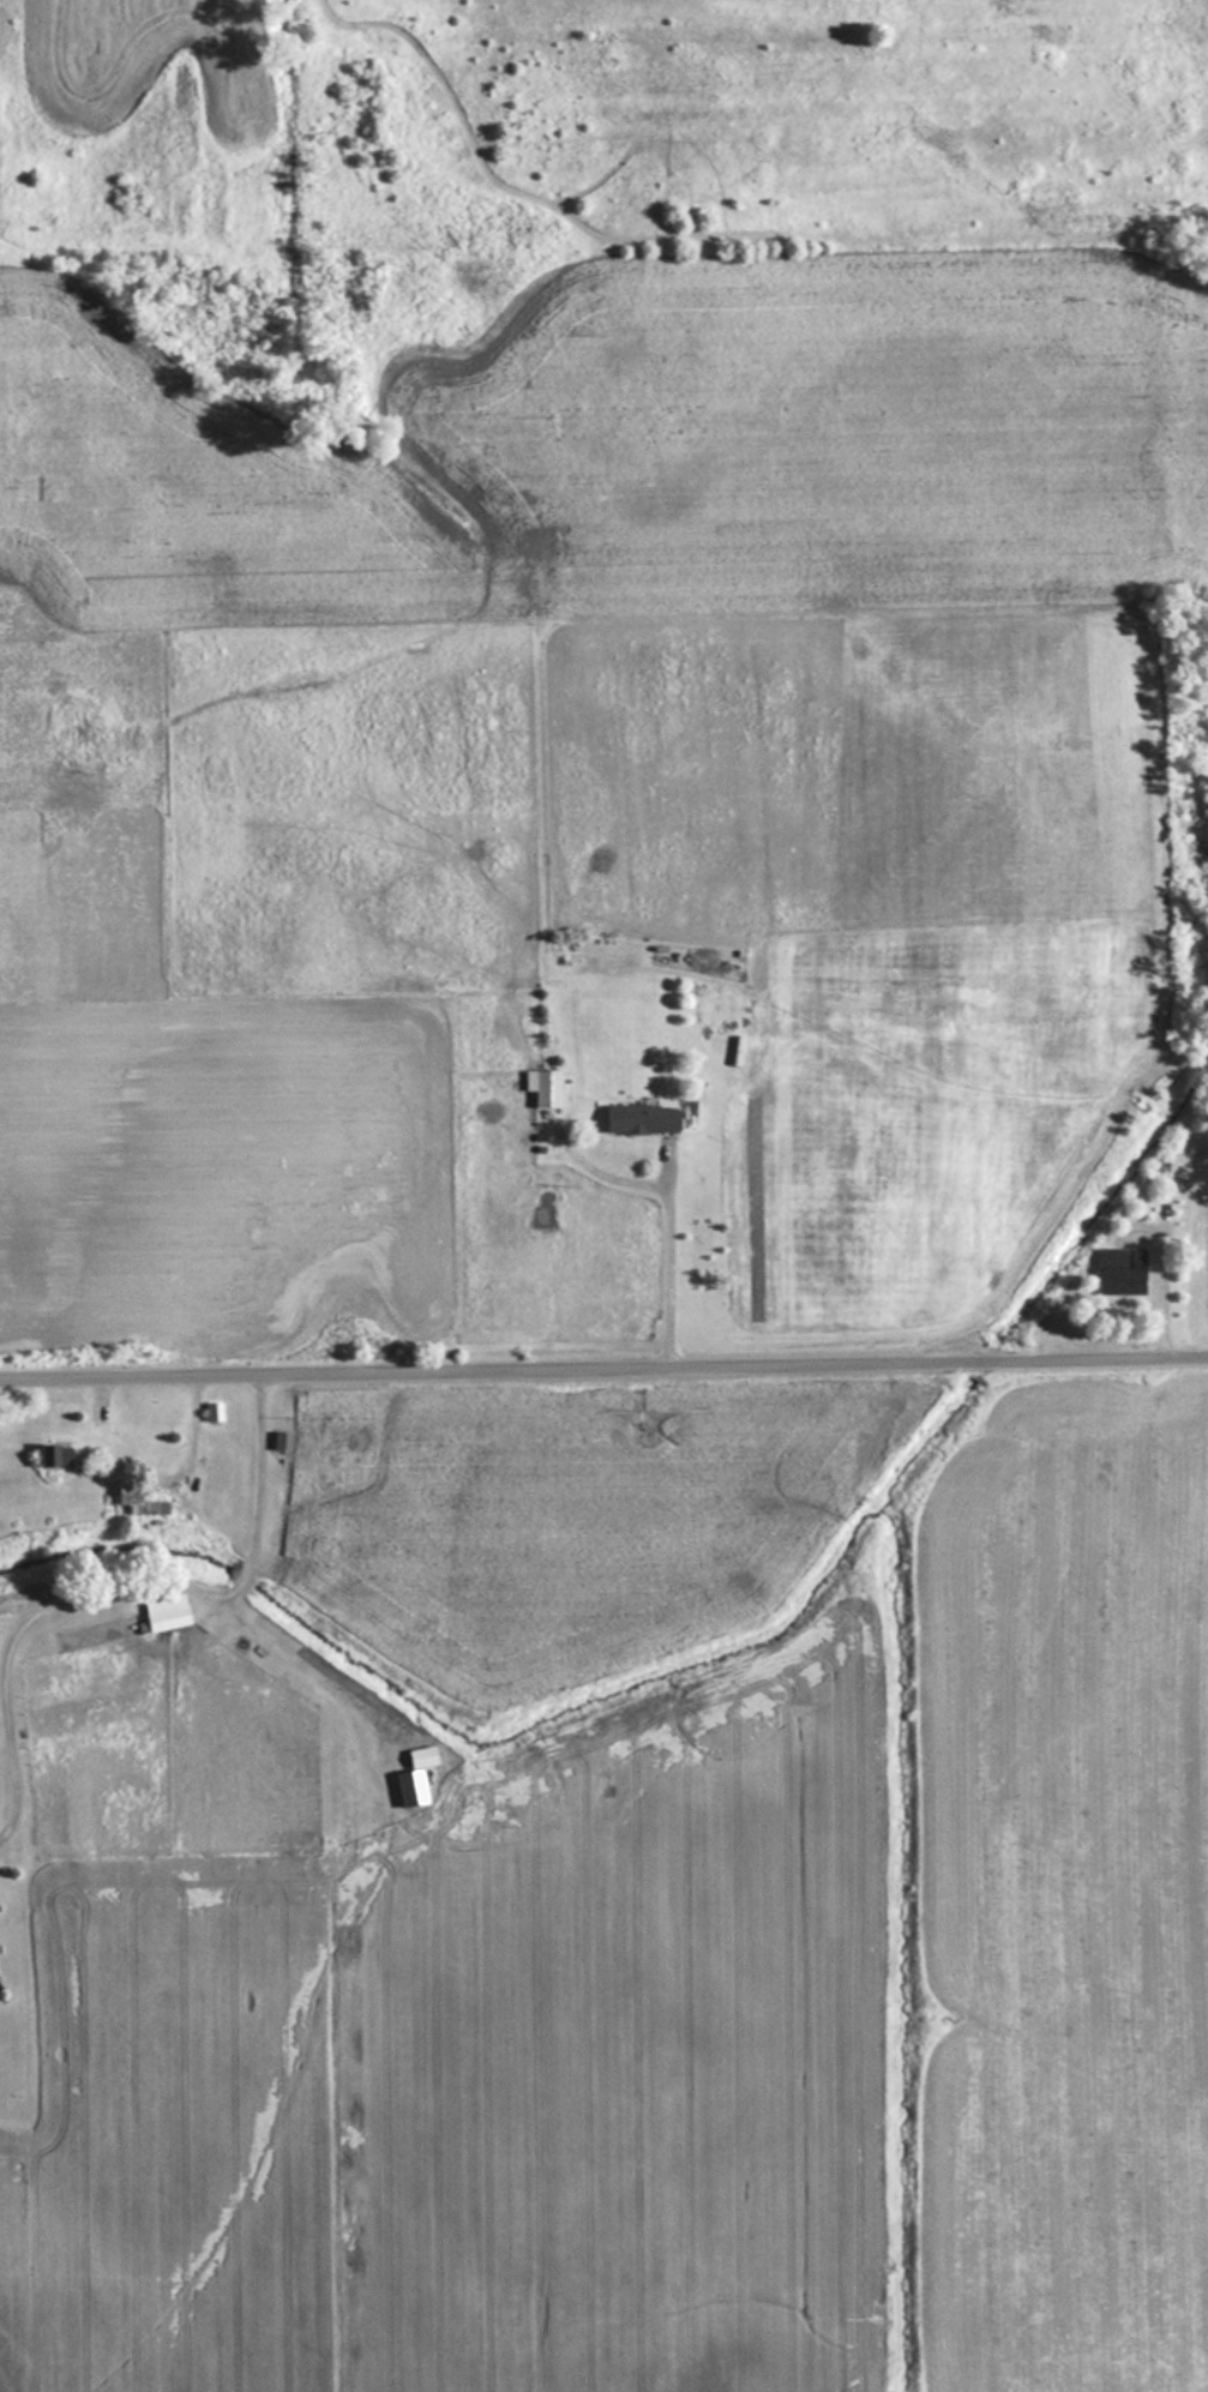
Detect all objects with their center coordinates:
building: (542, 1086)
building: (638, 1118)
building: (1118, 1270)
road: (603, 1376)
building: (211, 1411)
building: (280, 1440)
building: (53, 1453)
building: (136, 1497)
building: (162, 1612)
building: (411, 1777)

